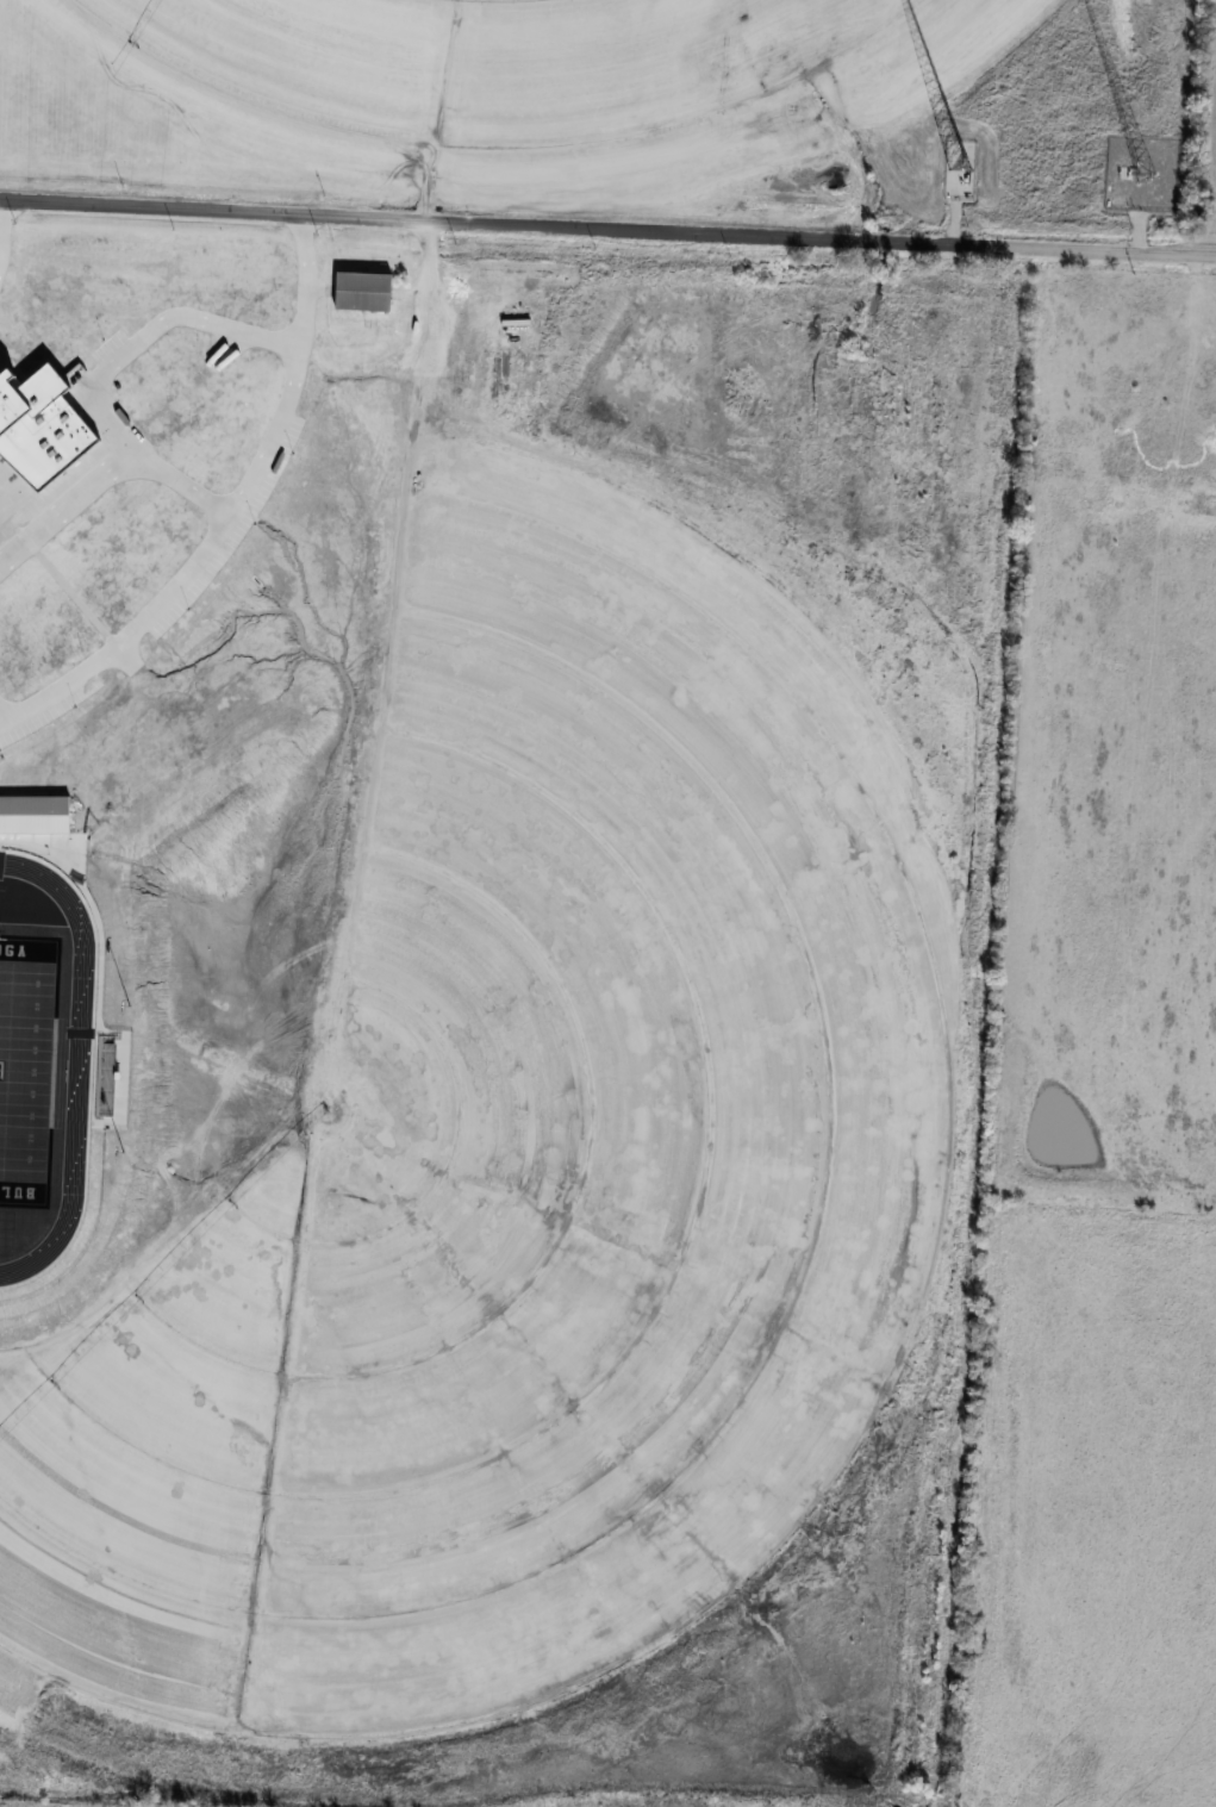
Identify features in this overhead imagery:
building: (972, 168)
road: (607, 226)
road: (2, 229)
building: (364, 291)
road: (144, 337)
road: (108, 473)
road: (233, 513)
road: (2, 717)

